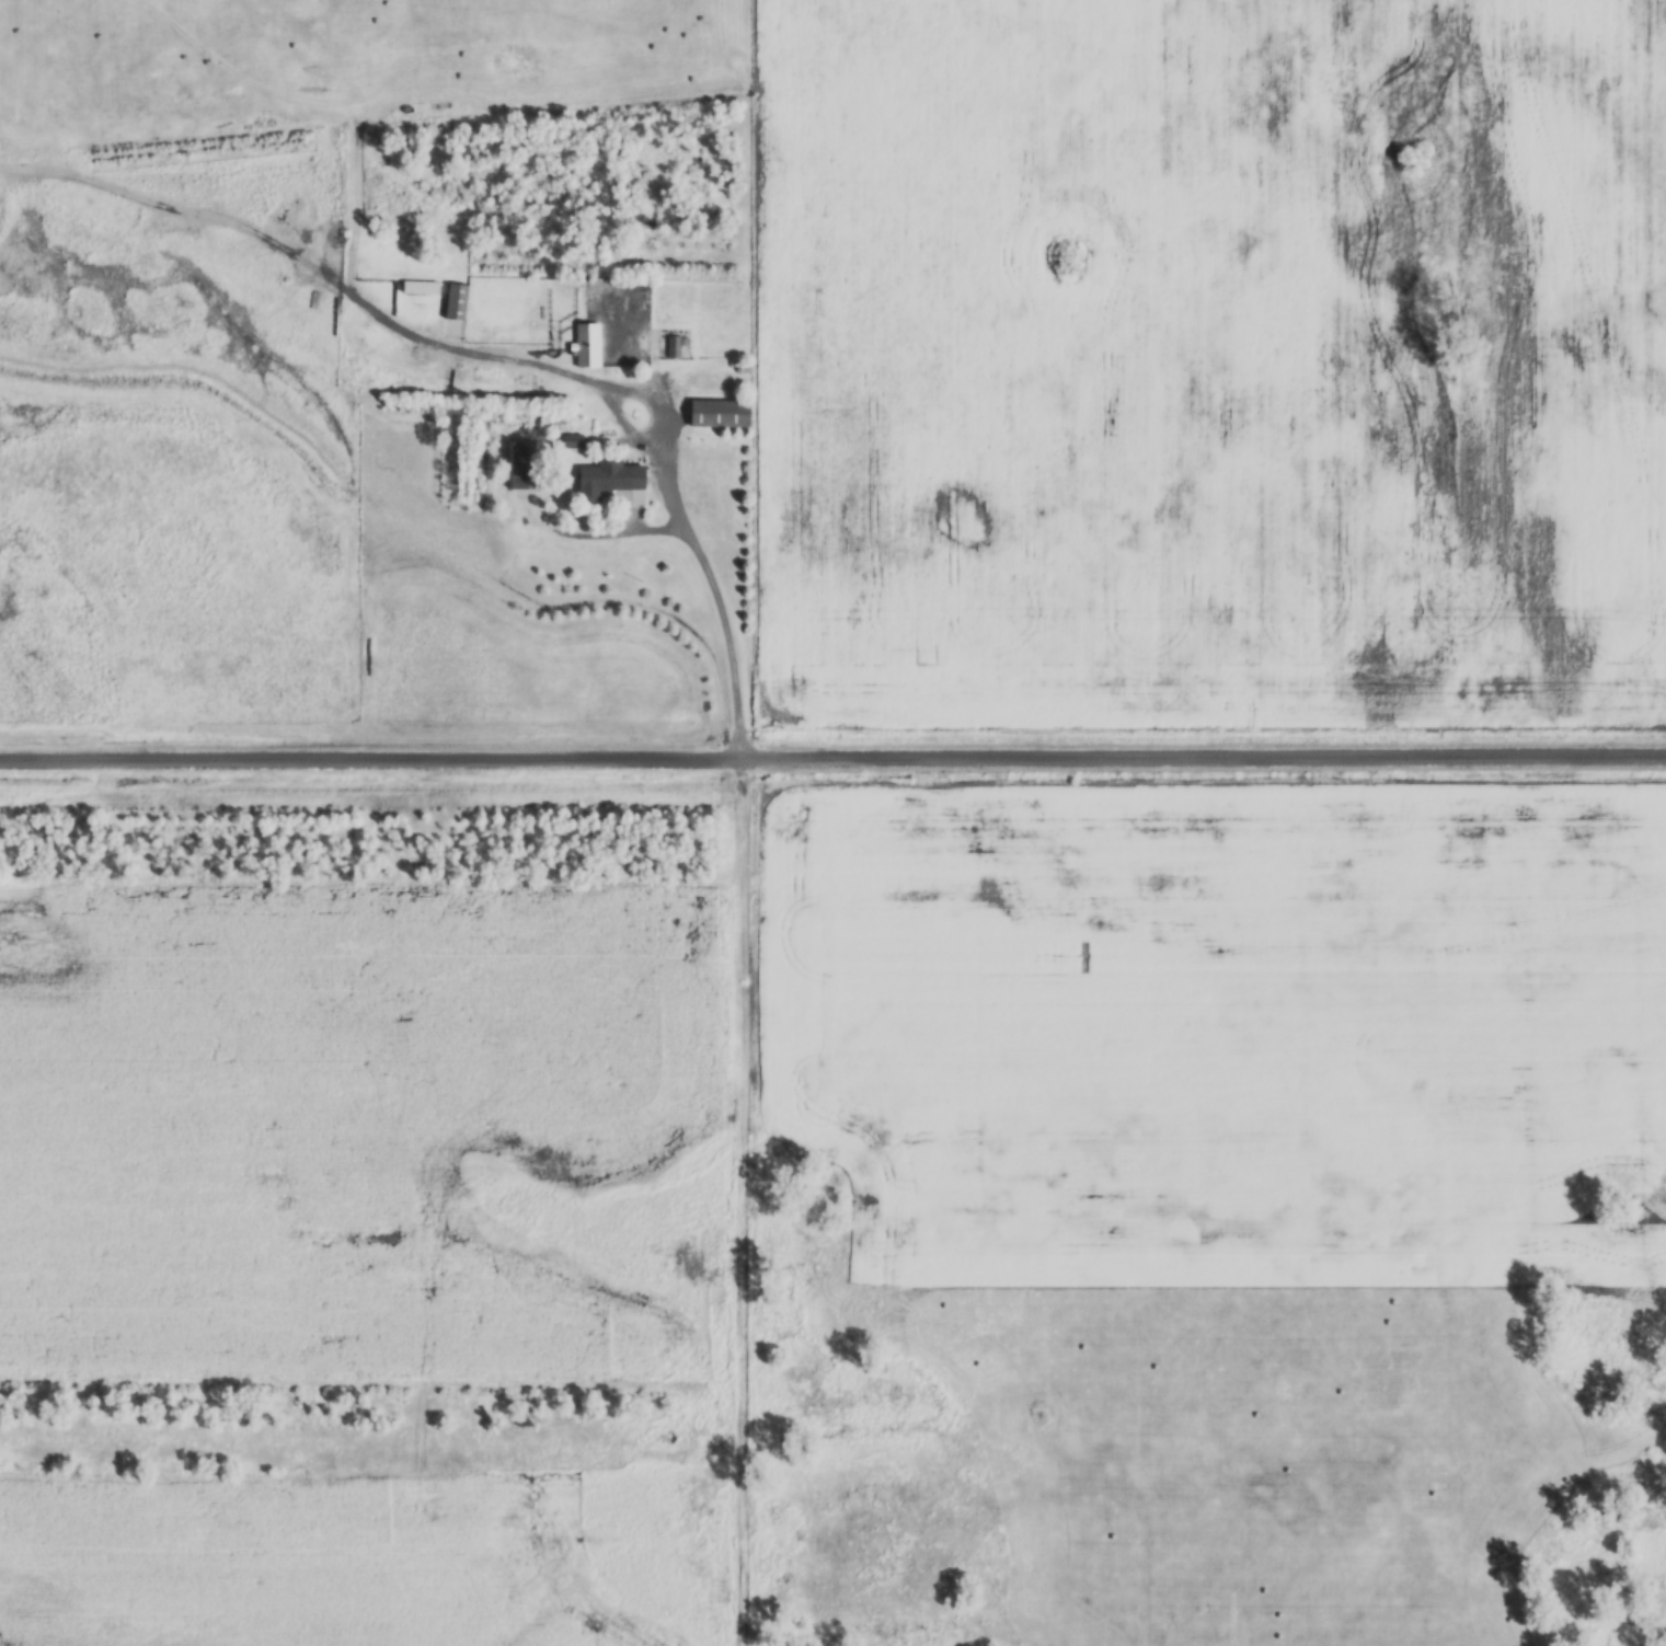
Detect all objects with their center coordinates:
building: (414, 286)
building: (450, 300)
building: (583, 344)
building: (669, 345)
building: (714, 413)
building: (519, 468)
building: (598, 477)
road: (722, 612)
road: (832, 762)

